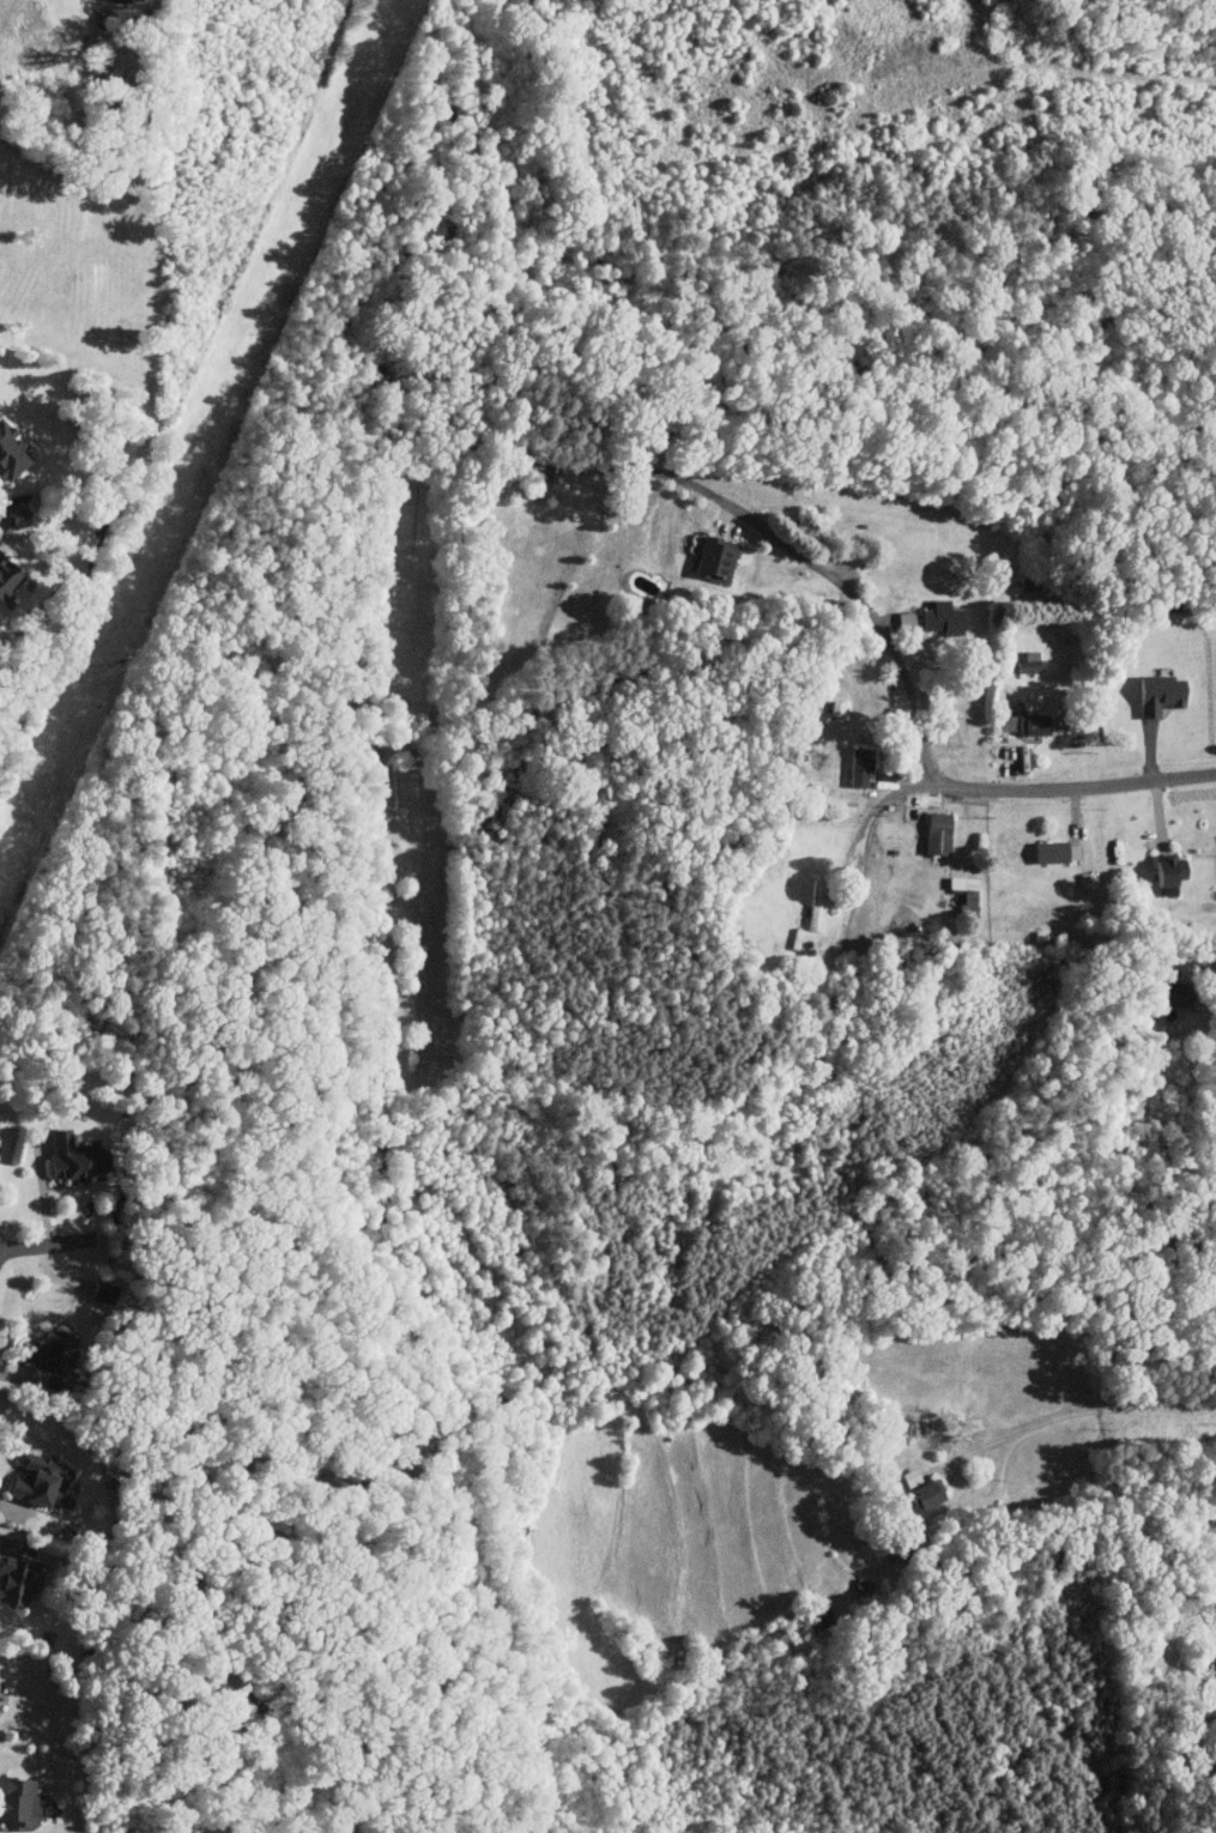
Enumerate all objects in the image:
building: (127, 0)
road: (332, 42)
road: (957, 59)
park: (657, 222)
building: (12, 452)
building: (542, 484)
building: (20, 513)
road: (798, 550)
building: (719, 557)
building: (8, 570)
building: (945, 617)
building: (1032, 661)
building: (1163, 692)
building: (1029, 722)
building: (864, 766)
road: (1024, 790)
building: (942, 833)
building: (1060, 851)
building: (1169, 870)
building: (969, 891)
building: (1182, 993)
building: (0, 1141)
building: (79, 1156)
road: (44, 1246)
building: (52, 1359)
road: (1084, 1410)
building: (40, 1480)
building: (928, 1494)
building: (66, 1500)
building: (17, 1580)
road: (1, 1764)
building: (20, 1802)

